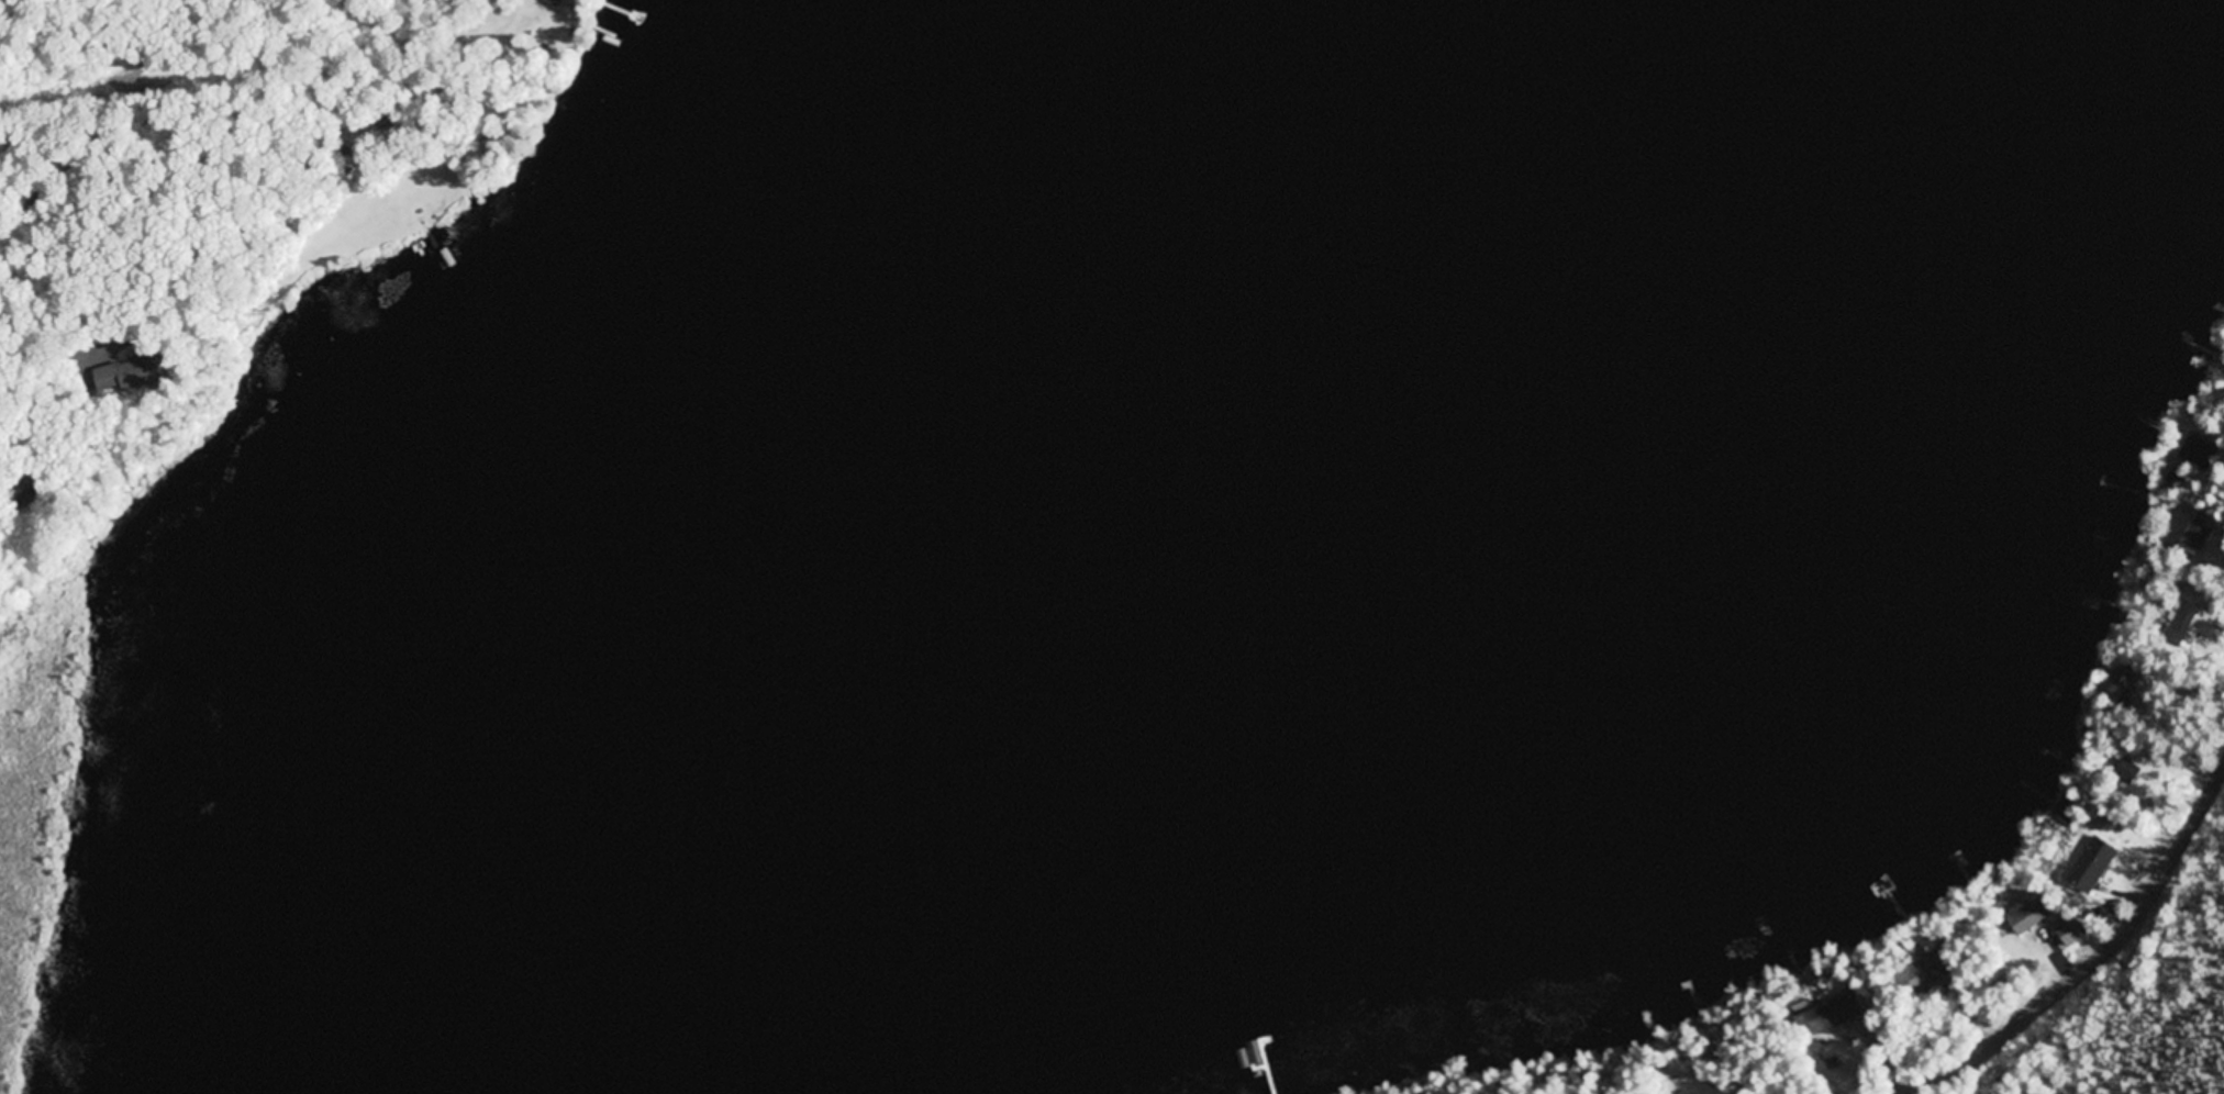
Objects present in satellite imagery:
road: (116, 124)
road: (125, 263)
building: (2195, 535)
river: (980, 551)
building: (2087, 882)
building: (2027, 916)
building: (2069, 931)
road: (2100, 957)
building: (1814, 1020)

